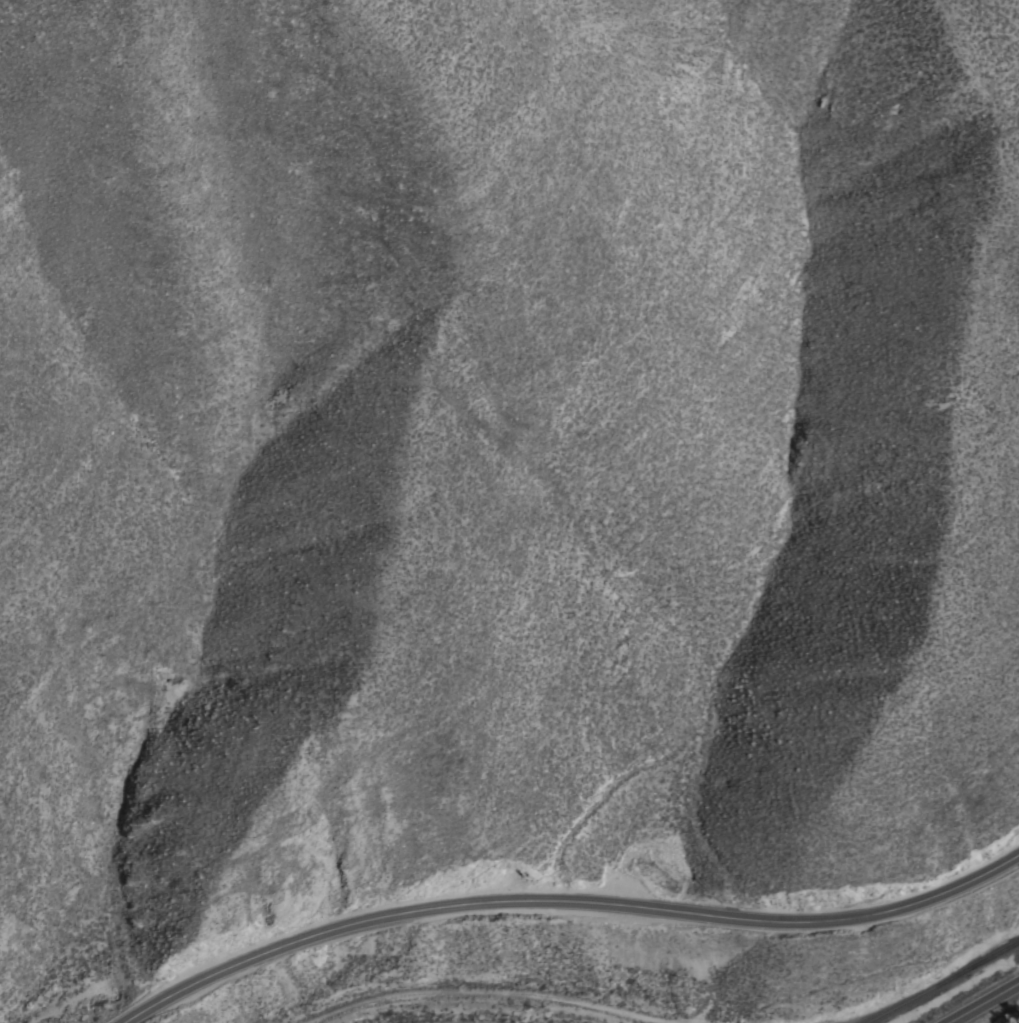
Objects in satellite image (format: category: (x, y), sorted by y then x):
road: (564, 903)
railway: (942, 982)
road: (985, 1004)

